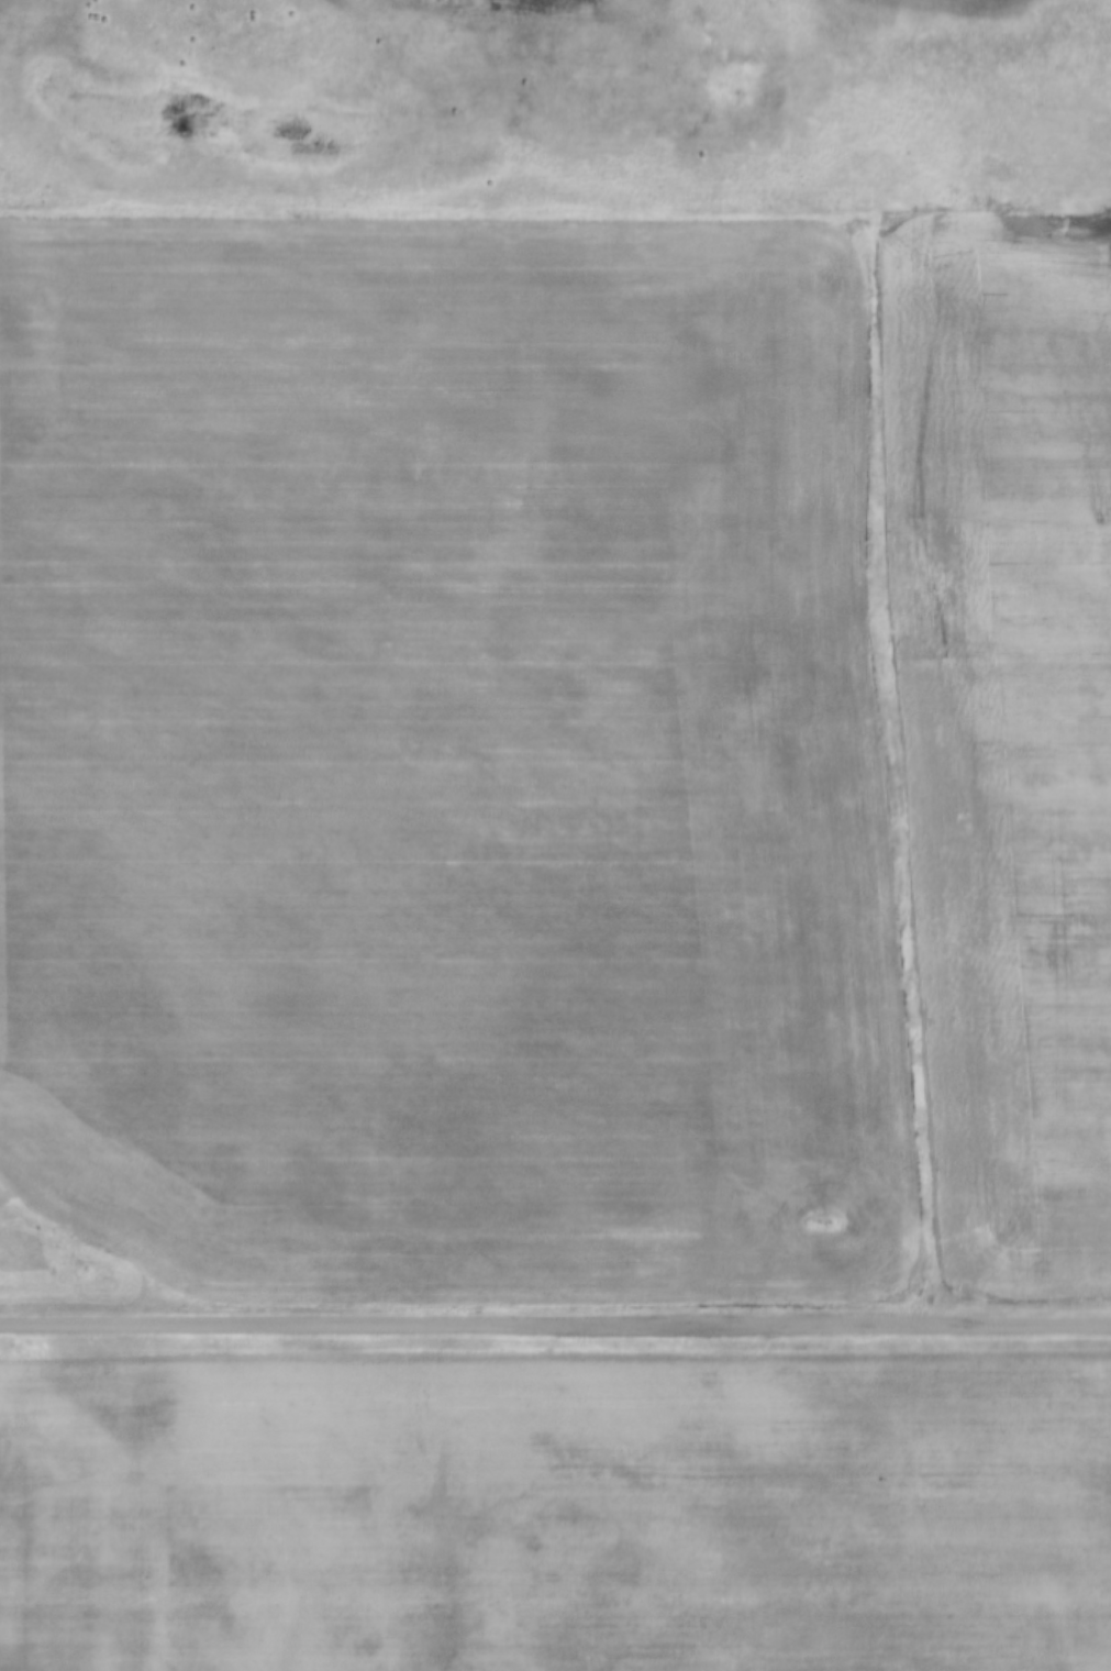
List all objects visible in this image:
road: (555, 1319)

